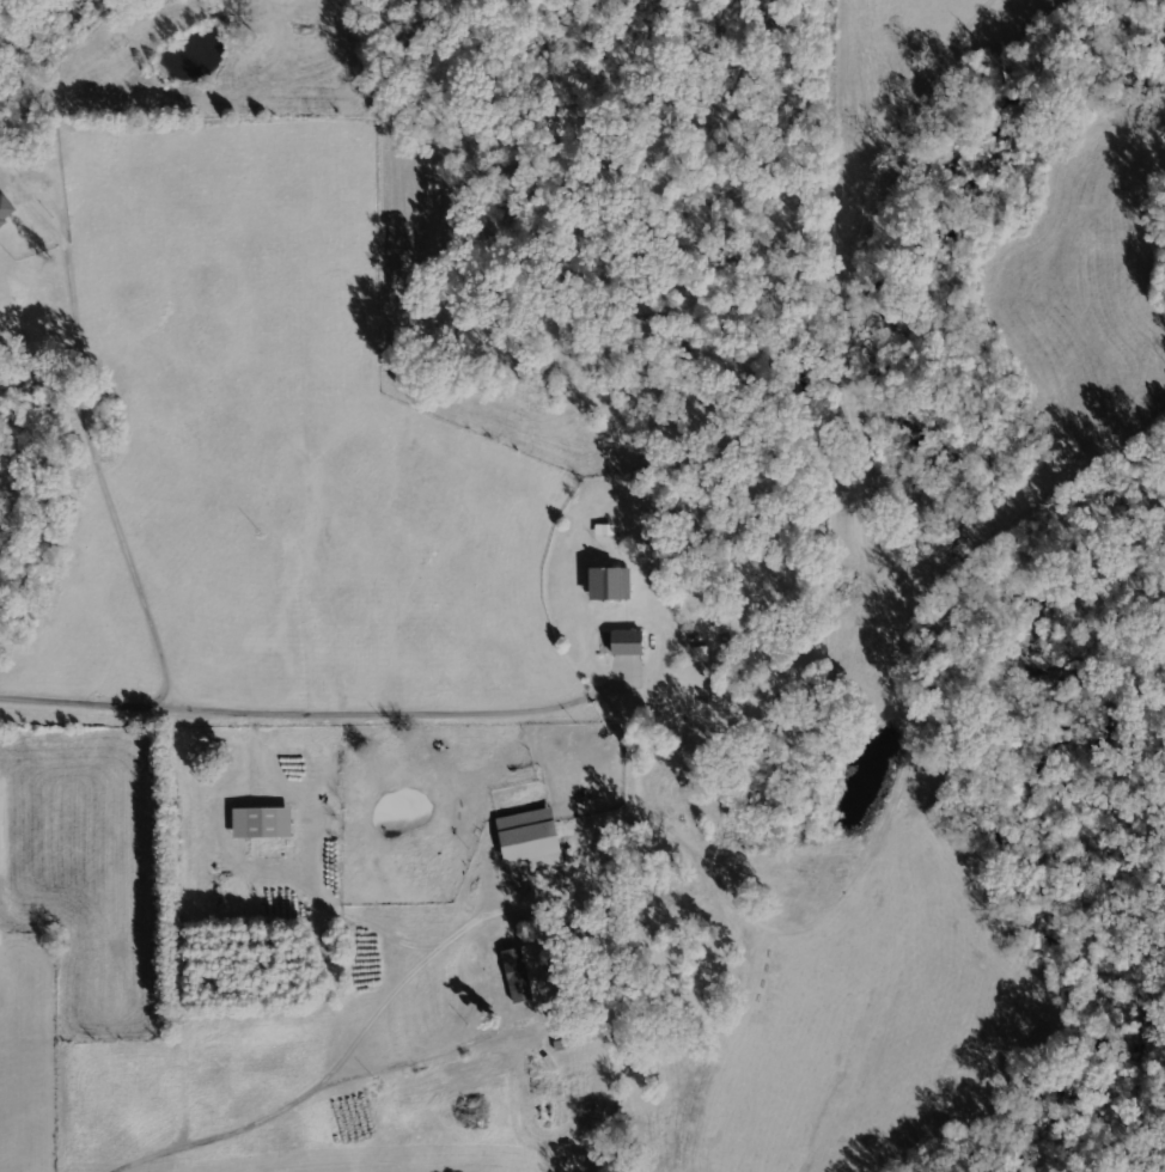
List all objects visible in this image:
building: (628, 641)
building: (263, 823)
road: (266, 831)
building: (532, 838)
building: (518, 975)
road: (321, 1078)

